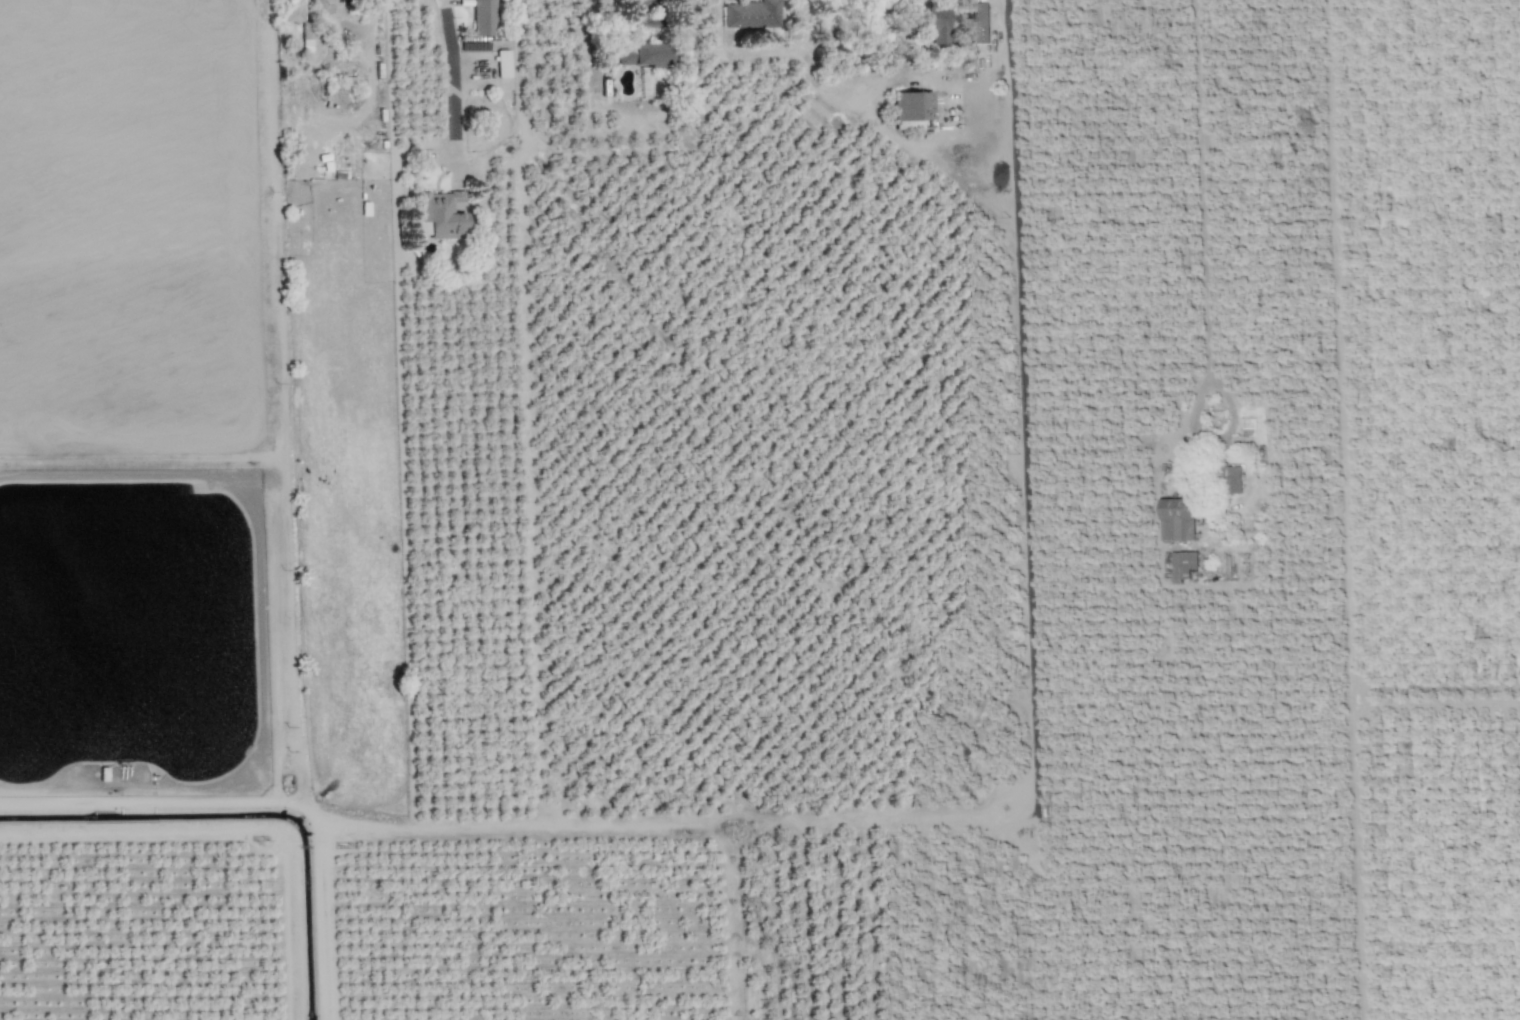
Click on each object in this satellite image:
building: (293, 11)
building: (751, 14)
building: (483, 17)
building: (978, 25)
building: (932, 32)
building: (643, 55)
road: (1005, 61)
building: (503, 63)
road: (451, 79)
building: (912, 109)
road: (1205, 205)
building: (438, 217)
building: (1232, 479)
building: (1177, 519)
building: (1183, 565)

